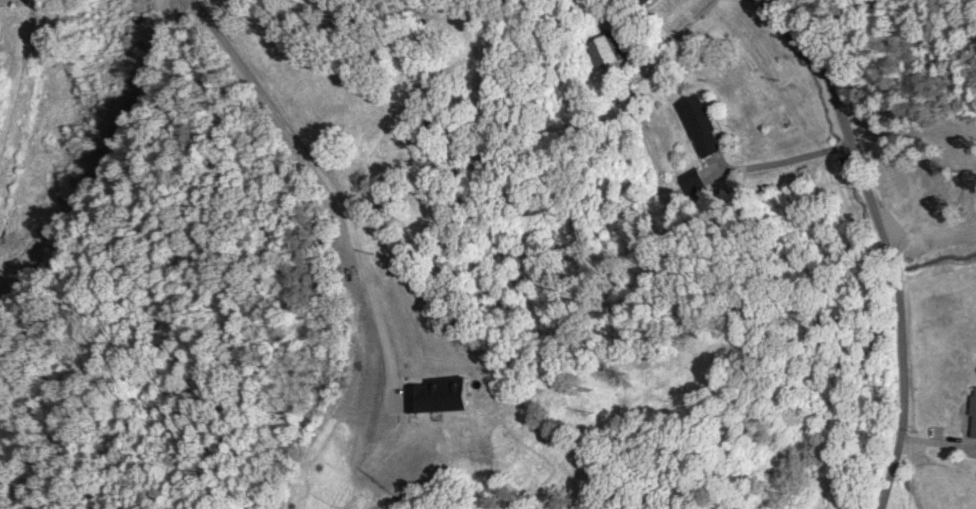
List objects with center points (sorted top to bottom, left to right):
building: (646, 1)
building: (610, 49)
building: (702, 125)
road: (101, 162)
road: (332, 185)
road: (895, 247)
building: (973, 415)

